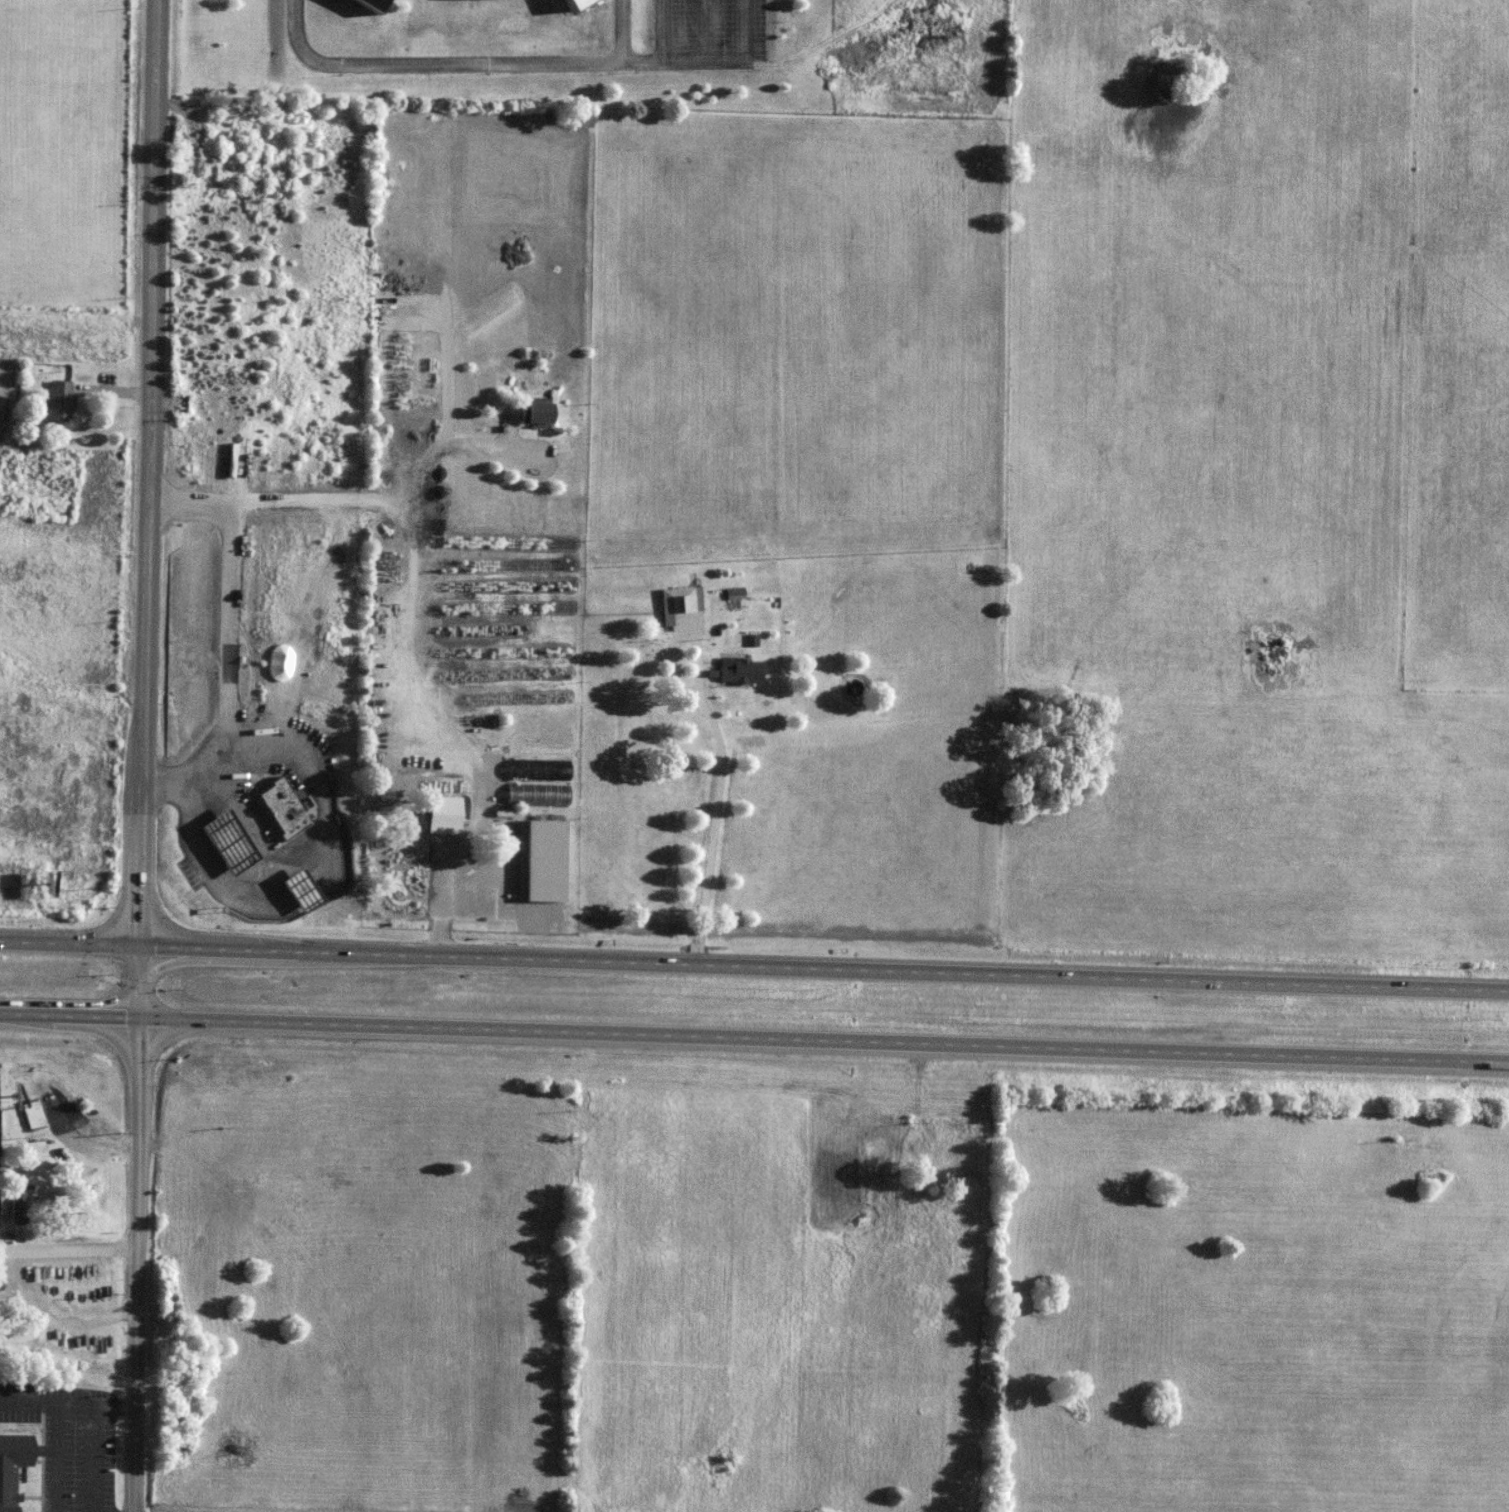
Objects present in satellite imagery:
building: (359, 5)
building: (566, 6)
road: (701, 29)
road: (618, 30)
parking lot: (703, 33)
road: (660, 36)
road: (732, 58)
road: (443, 61)
building: (57, 401)
building: (532, 414)
road: (447, 440)
building: (677, 601)
road: (410, 630)
road: (222, 667)
building: (737, 671)
road: (145, 756)
road: (719, 758)
building: (282, 808)
building: (443, 810)
building: (228, 842)
building: (539, 861)
building: (400, 873)
building: (301, 889)
road: (754, 968)
road: (754, 1040)
building: (30, 1115)
road: (86, 1133)
building: (850, 1175)
building: (17, 1207)
road: (68, 1246)
road: (56, 1311)
building: (32, 1320)
road: (67, 1404)
road: (90, 1460)
building: (12, 1468)

